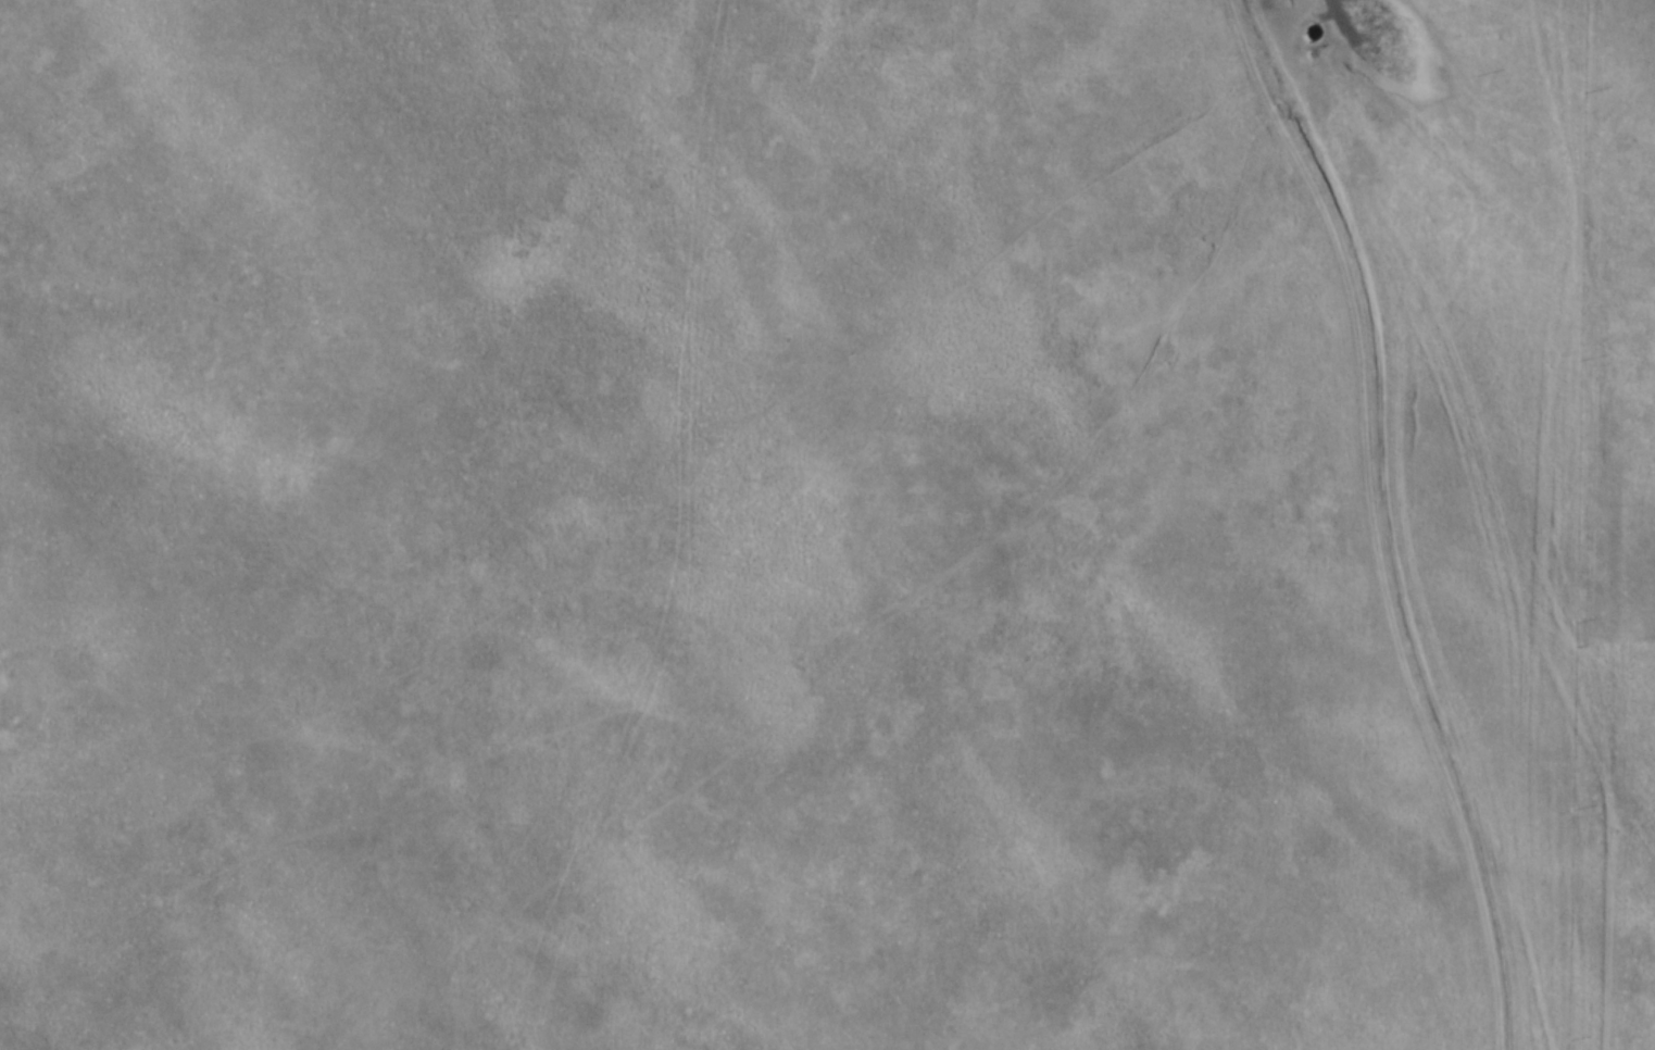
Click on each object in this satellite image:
road: (1482, 509)

